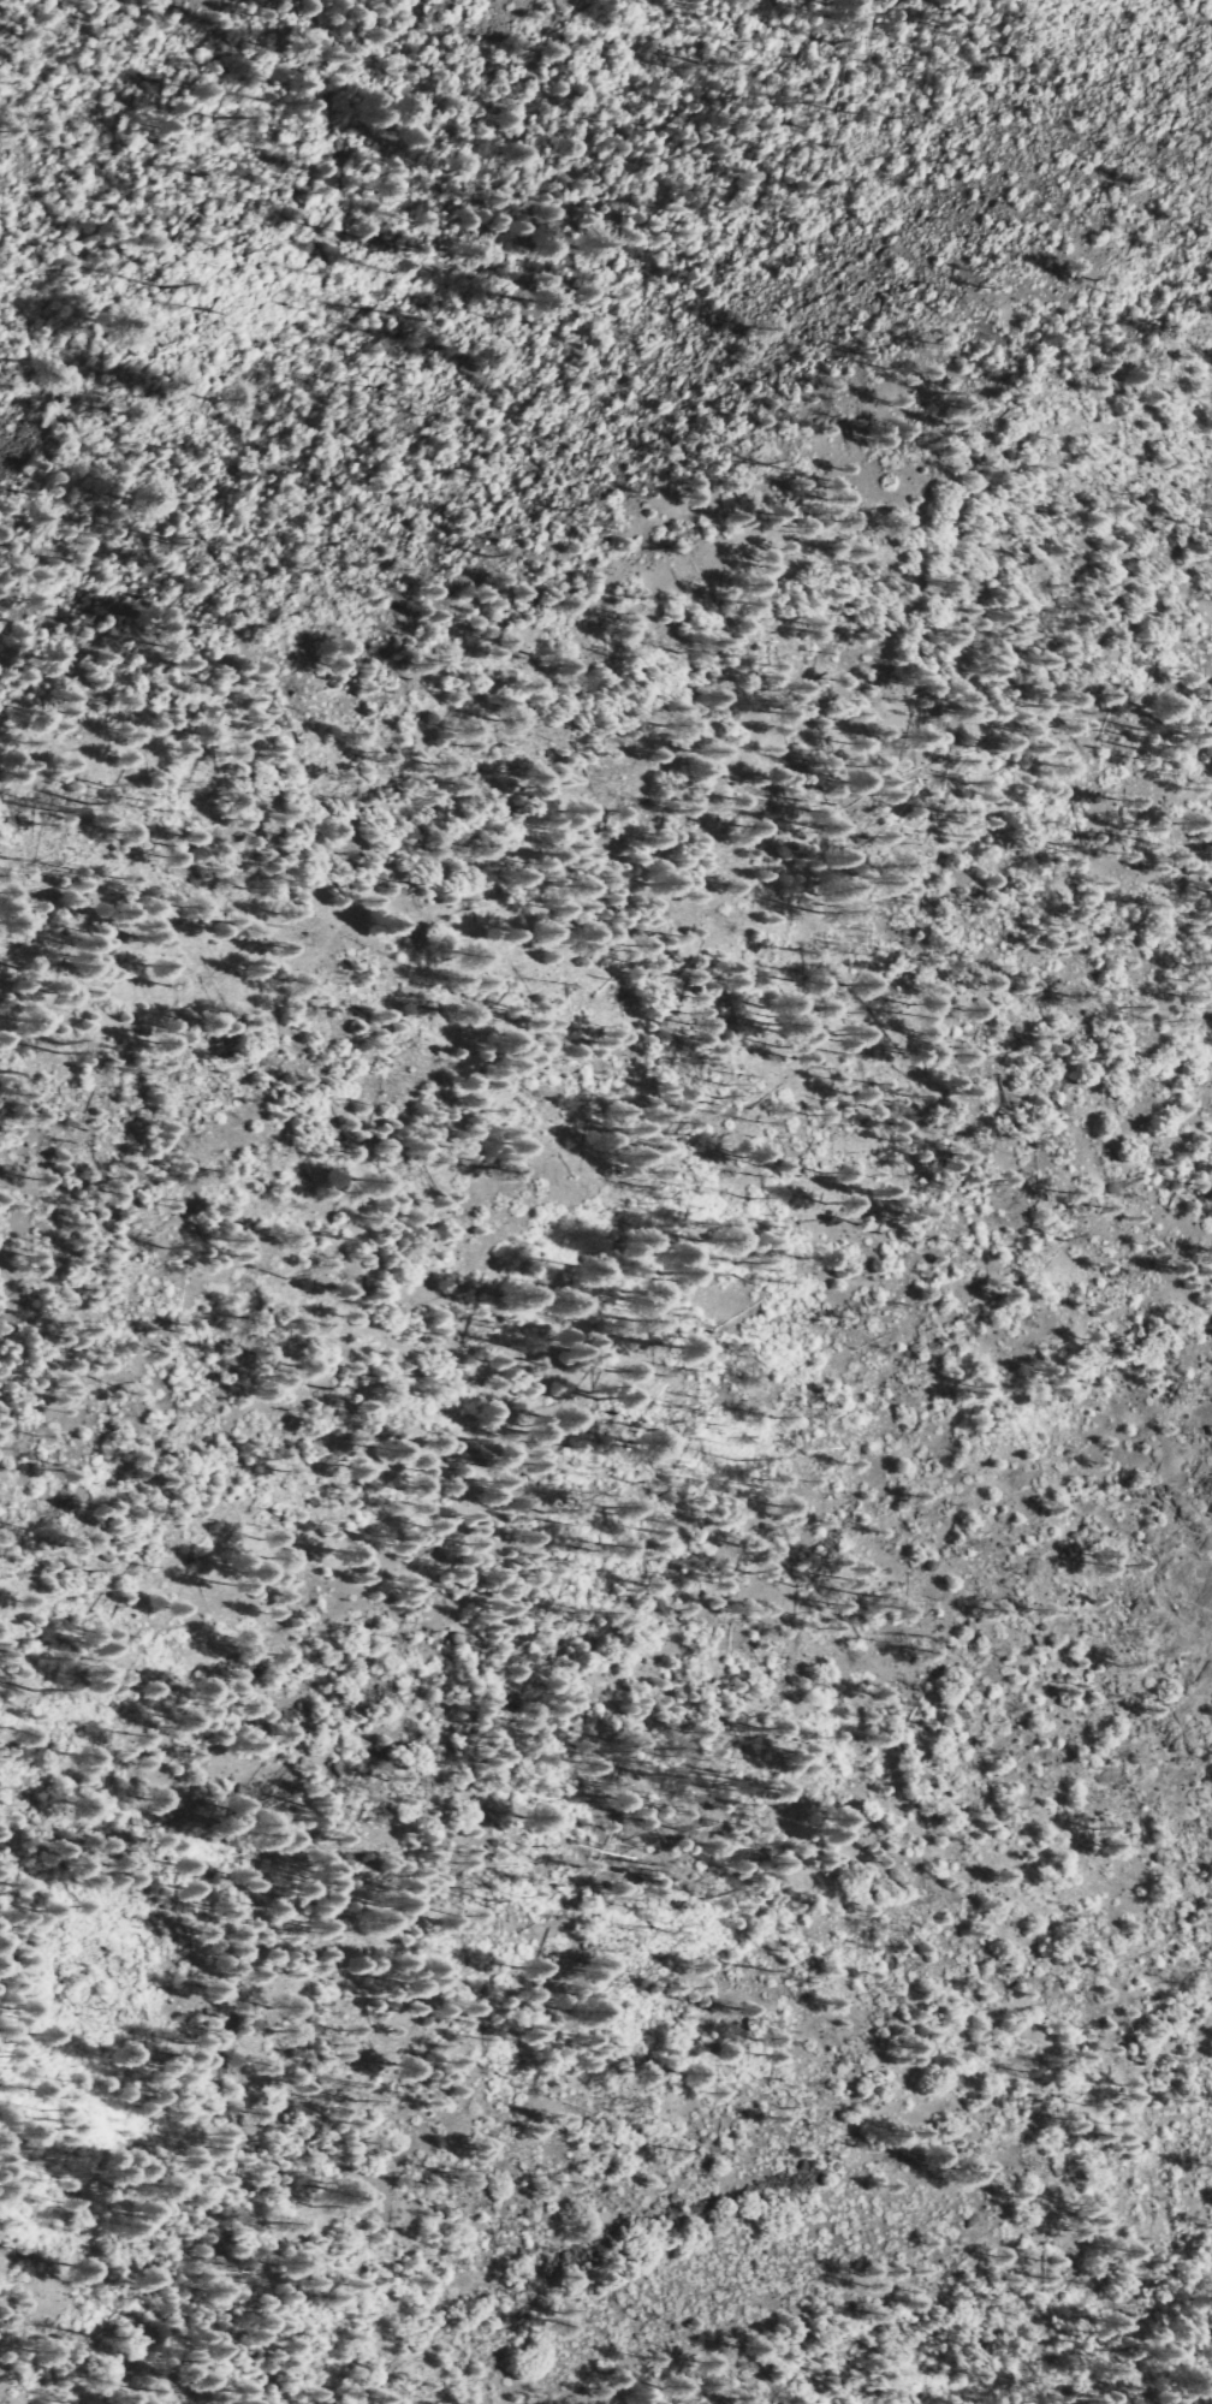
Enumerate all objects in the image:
road: (1115, 2207)

